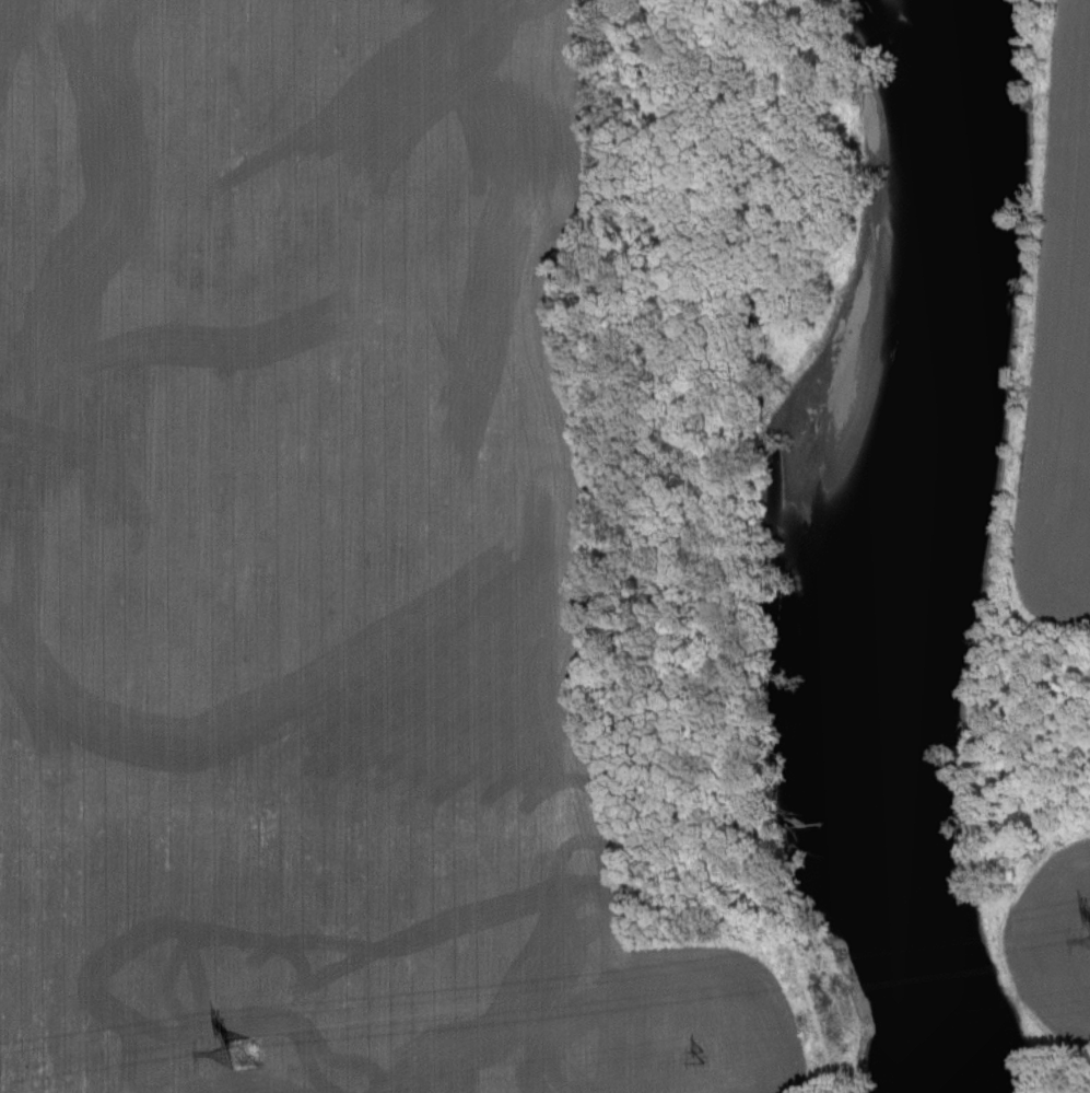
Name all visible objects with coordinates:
river: (889, 550)
power tower: (242, 1054)

